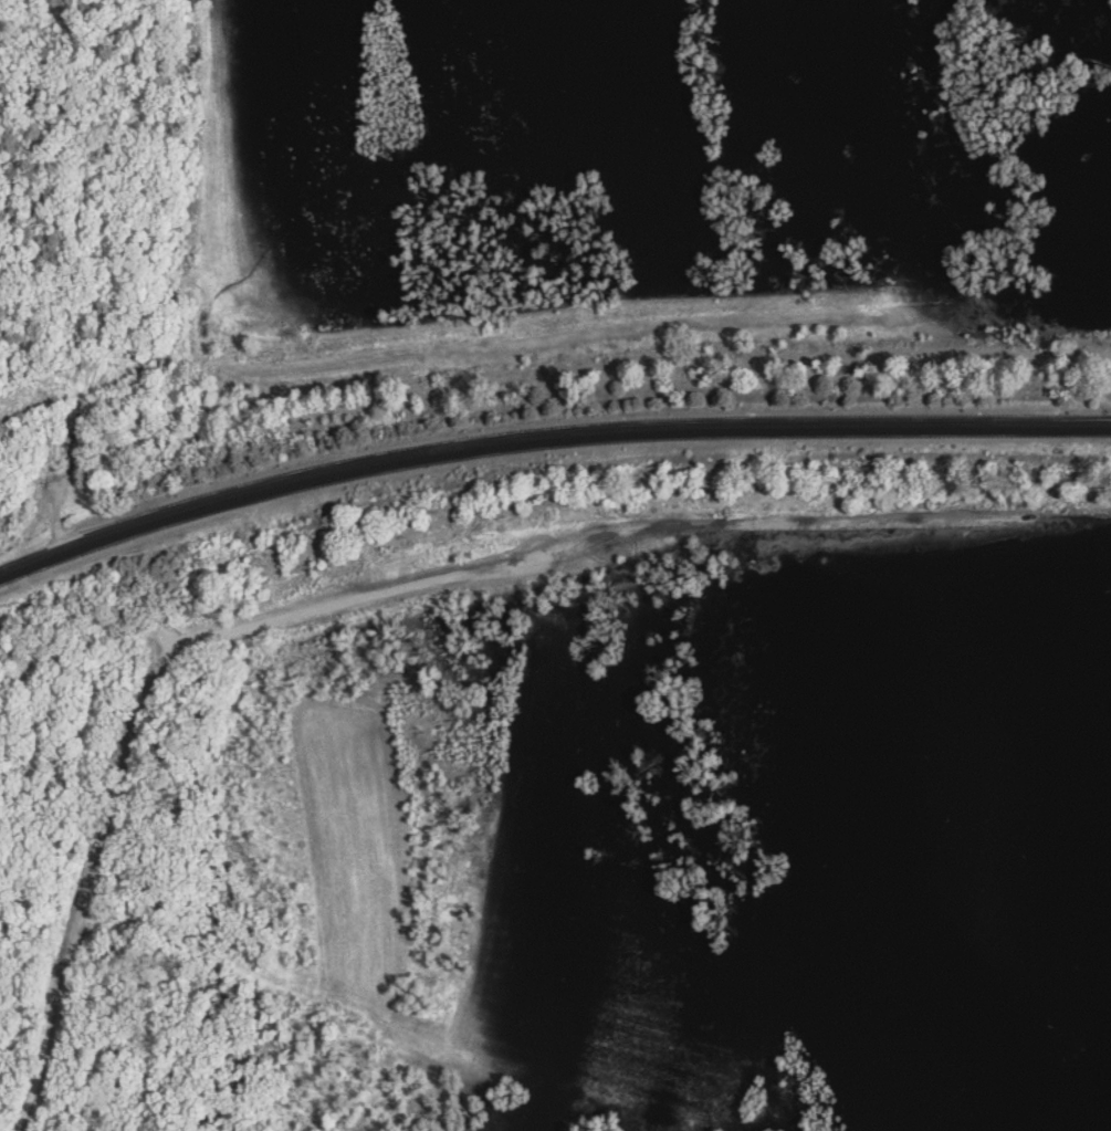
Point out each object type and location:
road: (785, 326)
road: (546, 437)
road: (387, 589)

